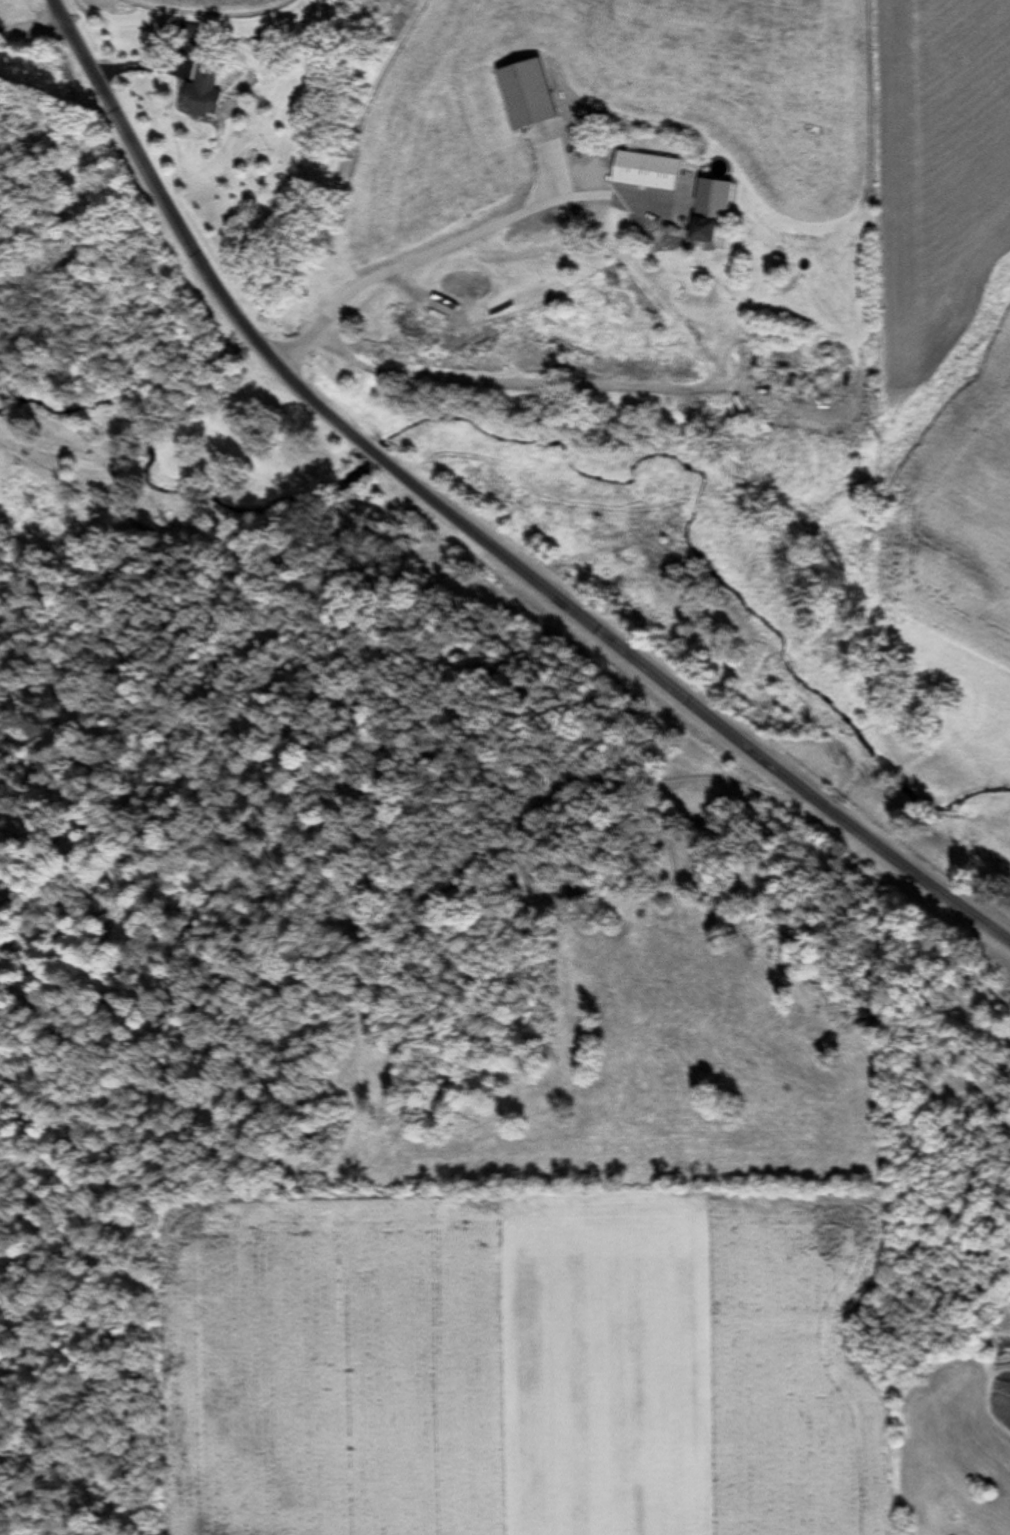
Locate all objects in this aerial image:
building: (209, 93)
building: (536, 94)
building: (652, 171)
building: (712, 212)
road: (436, 267)
building: (458, 283)
road: (471, 502)

